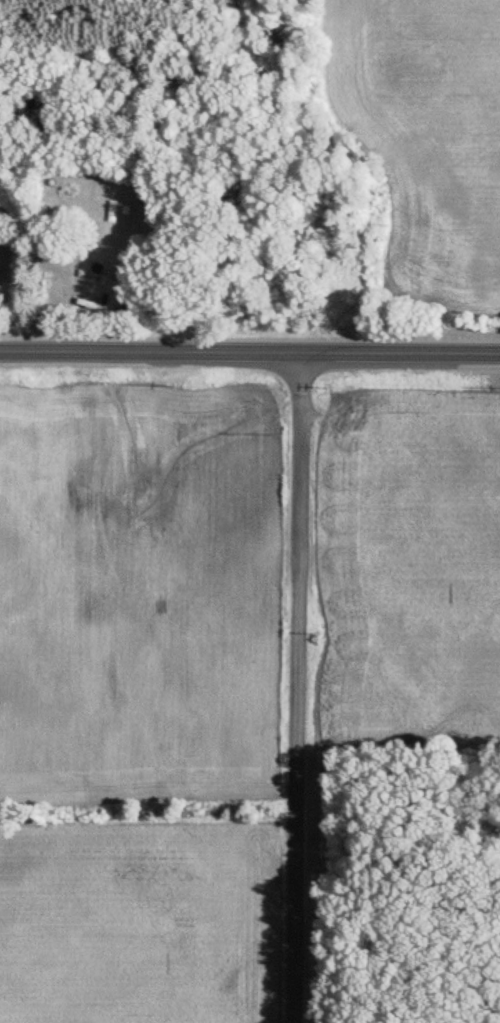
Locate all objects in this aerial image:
building: (65, 295)
road: (249, 354)
road: (290, 688)

